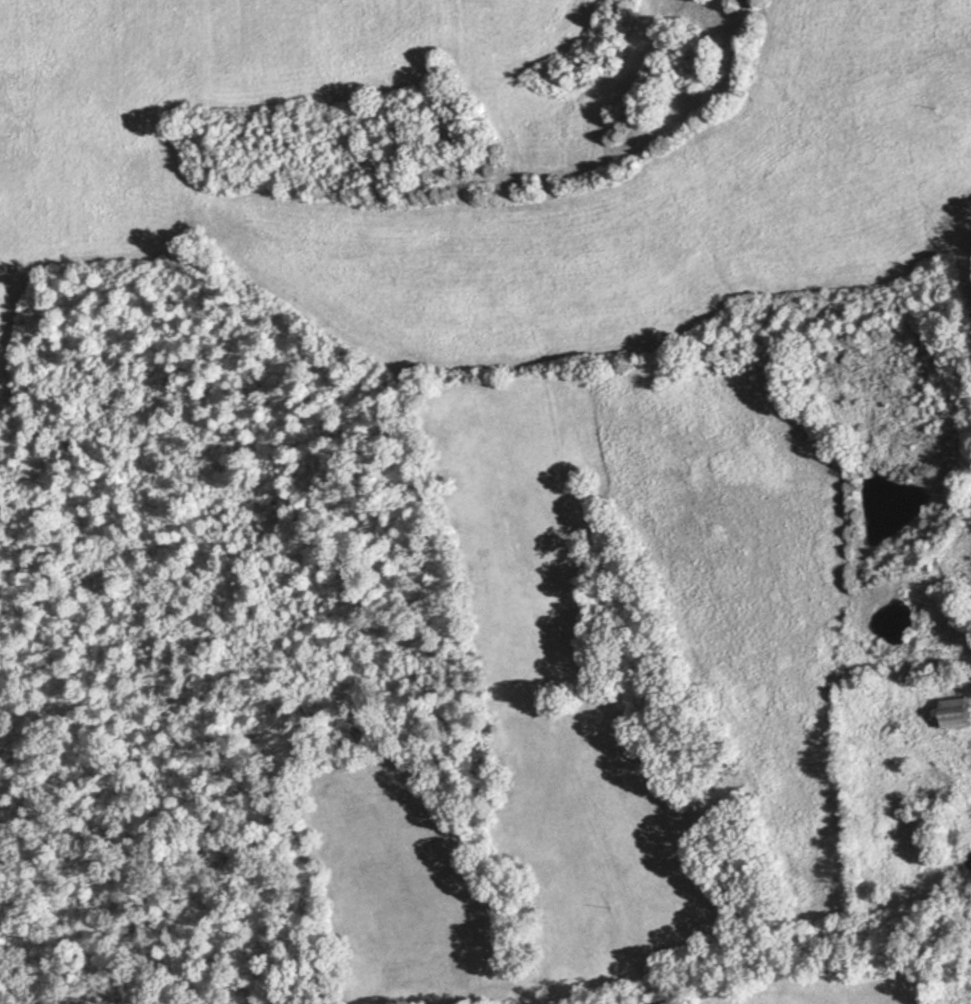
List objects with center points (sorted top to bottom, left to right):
building: (958, 715)

